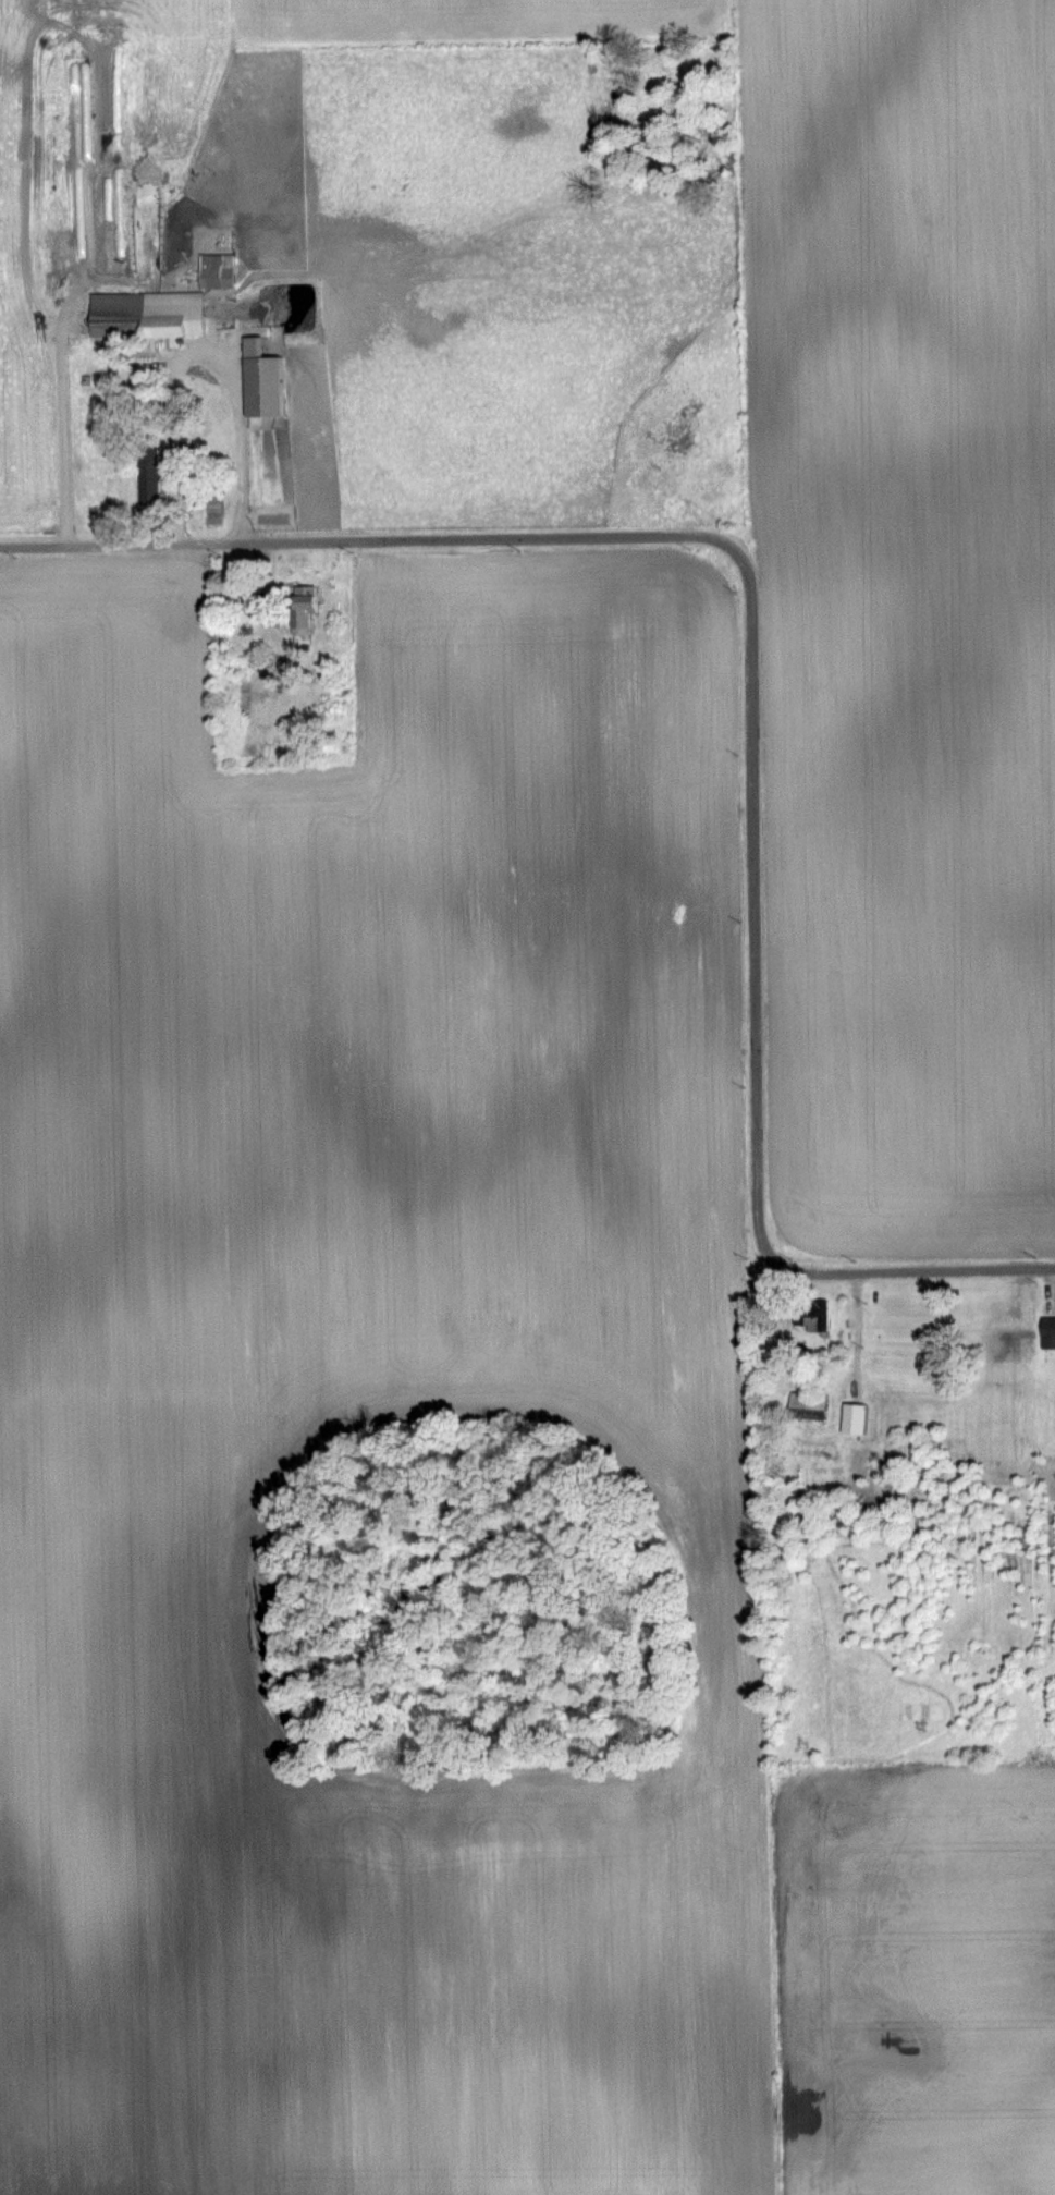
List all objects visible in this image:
building: (219, 260)
building: (147, 314)
road: (192, 363)
building: (148, 475)
building: (302, 608)
road: (751, 676)
building: (810, 1314)
building: (1047, 1331)
building: (807, 1405)
building: (854, 1418)

